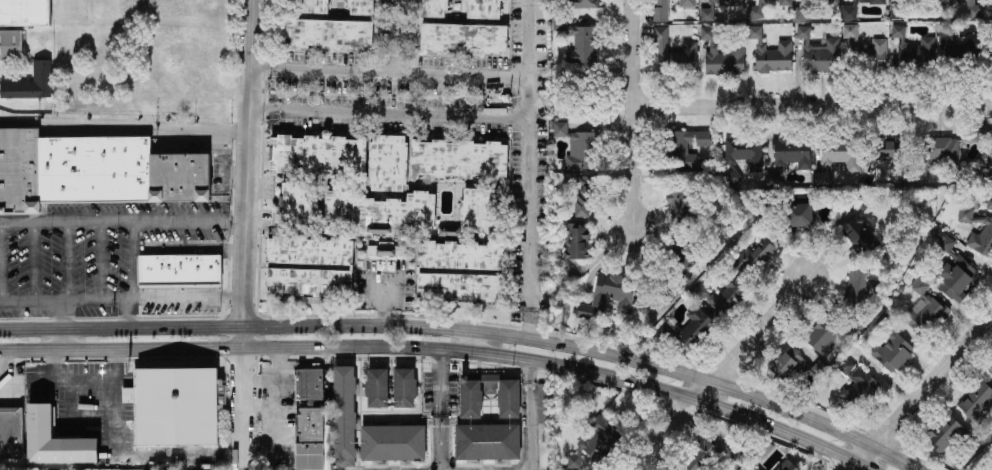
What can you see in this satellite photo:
building: (832, 2)
building: (944, 2)
building: (687, 3)
building: (737, 3)
building: (785, 3)
building: (586, 4)
building: (312, 7)
building: (362, 8)
building: (436, 8)
building: (485, 9)
building: (662, 10)
building: (973, 10)
building: (756, 11)
building: (709, 12)
building: (850, 13)
building: (20, 25)
building: (330, 34)
building: (850, 35)
road: (400, 36)
building: (464, 38)
building: (579, 42)
building: (960, 45)
building: (914, 47)
building: (771, 53)
building: (819, 53)
building: (876, 53)
building: (674, 56)
building: (723, 56)
road: (424, 74)
building: (29, 85)
building: (579, 100)
road: (814, 106)
road: (637, 113)
road: (393, 119)
road: (125, 126)
building: (561, 130)
building: (981, 135)
building: (685, 149)
building: (584, 151)
building: (890, 151)
building: (318, 155)
building: (843, 155)
building: (743, 156)
building: (790, 157)
building: (989, 158)
building: (460, 160)
building: (389, 163)
building: (93, 172)
road: (533, 193)
building: (581, 196)
building: (301, 202)
building: (678, 202)
building: (989, 203)
building: (380, 211)
building: (480, 211)
building: (800, 215)
road: (124, 221)
building: (966, 231)
road: (248, 235)
building: (861, 237)
building: (575, 247)
building: (386, 250)
building: (756, 257)
road: (34, 260)
road: (67, 260)
road: (101, 260)
road: (134, 260)
road: (2, 261)
building: (346, 267)
building: (954, 269)
building: (501, 271)
building: (180, 272)
building: (920, 286)
building: (861, 287)
building: (723, 296)
road: (388, 297)
building: (610, 297)
road: (123, 299)
road: (134, 313)
building: (924, 314)
road: (68, 325)
road: (220, 327)
building: (695, 328)
road: (458, 331)
building: (829, 334)
road: (475, 343)
road: (219, 348)
road: (456, 352)
building: (893, 353)
building: (790, 364)
road: (6, 366)
building: (846, 368)
building: (990, 370)
road: (720, 372)
road: (704, 380)
building: (310, 385)
building: (377, 388)
building: (405, 388)
building: (859, 388)
road: (676, 394)
road: (923, 394)
building: (977, 403)
building: (543, 404)
building: (175, 406)
building: (509, 406)
road: (443, 410)
road: (532, 415)
building: (345, 416)
road: (96, 430)
building: (11, 433)
building: (946, 434)
building: (57, 441)
building: (312, 441)
building: (488, 442)
building: (394, 443)
building: (596, 444)
building: (544, 447)
road: (171, 456)
building: (701, 456)
building: (740, 456)

